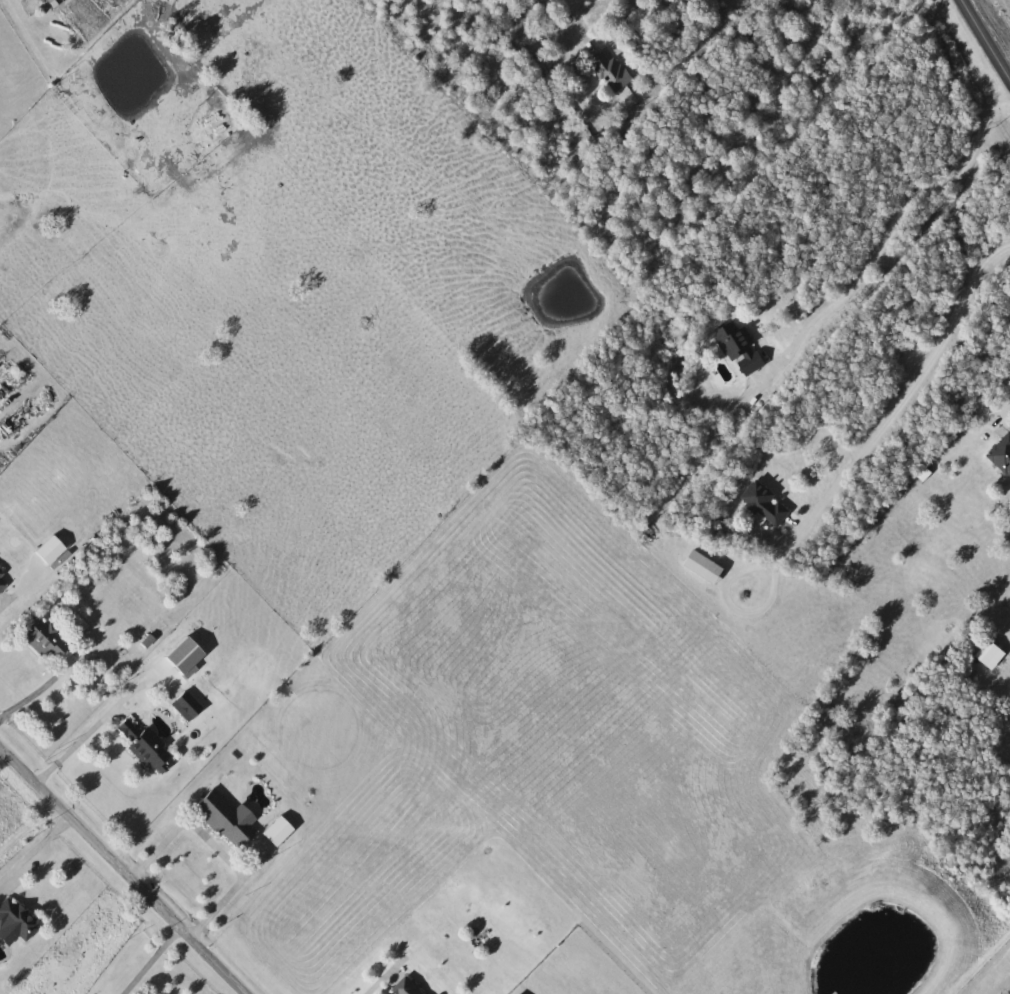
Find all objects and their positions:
road: (578, 22)
road: (984, 39)
building: (608, 69)
road: (886, 236)
building: (738, 348)
road: (1004, 417)
road: (887, 423)
building: (1000, 454)
building: (762, 504)
building: (699, 566)
building: (2, 579)
road: (14, 594)
building: (38, 637)
building: (986, 654)
road: (32, 696)
building: (181, 705)
building: (140, 746)
road: (78, 748)
building: (222, 818)
road: (29, 829)
building: (271, 830)
road: (219, 847)
road: (37, 848)
road: (125, 868)
building: (15, 919)
road: (152, 958)
road: (378, 980)
building: (405, 986)

